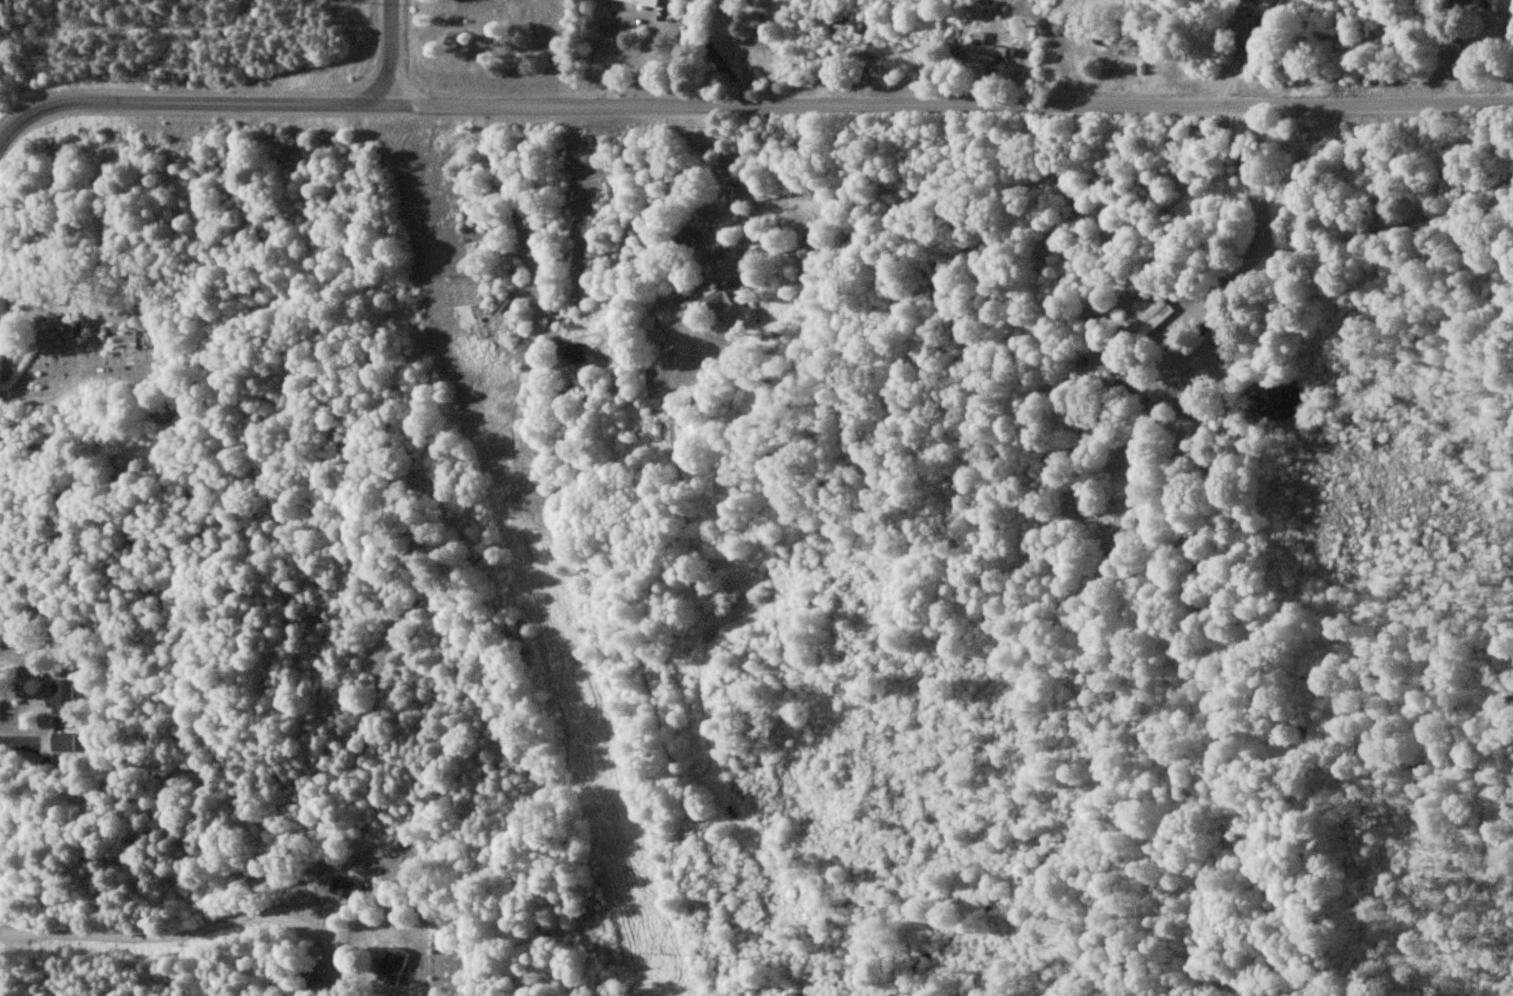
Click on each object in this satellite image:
building: (644, 2)
road: (636, 25)
road: (111, 30)
building: (851, 35)
building: (983, 45)
road: (1464, 51)
road: (393, 53)
road: (1508, 67)
road: (767, 107)
road: (12, 135)
road: (518, 213)
building: (685, 235)
building: (715, 251)
building: (723, 292)
building: (1150, 318)
building: (647, 322)
building: (73, 328)
road: (683, 331)
building: (584, 356)
building: (731, 596)
building: (62, 696)
building: (63, 741)
building: (345, 888)
road: (144, 937)
building: (392, 965)

